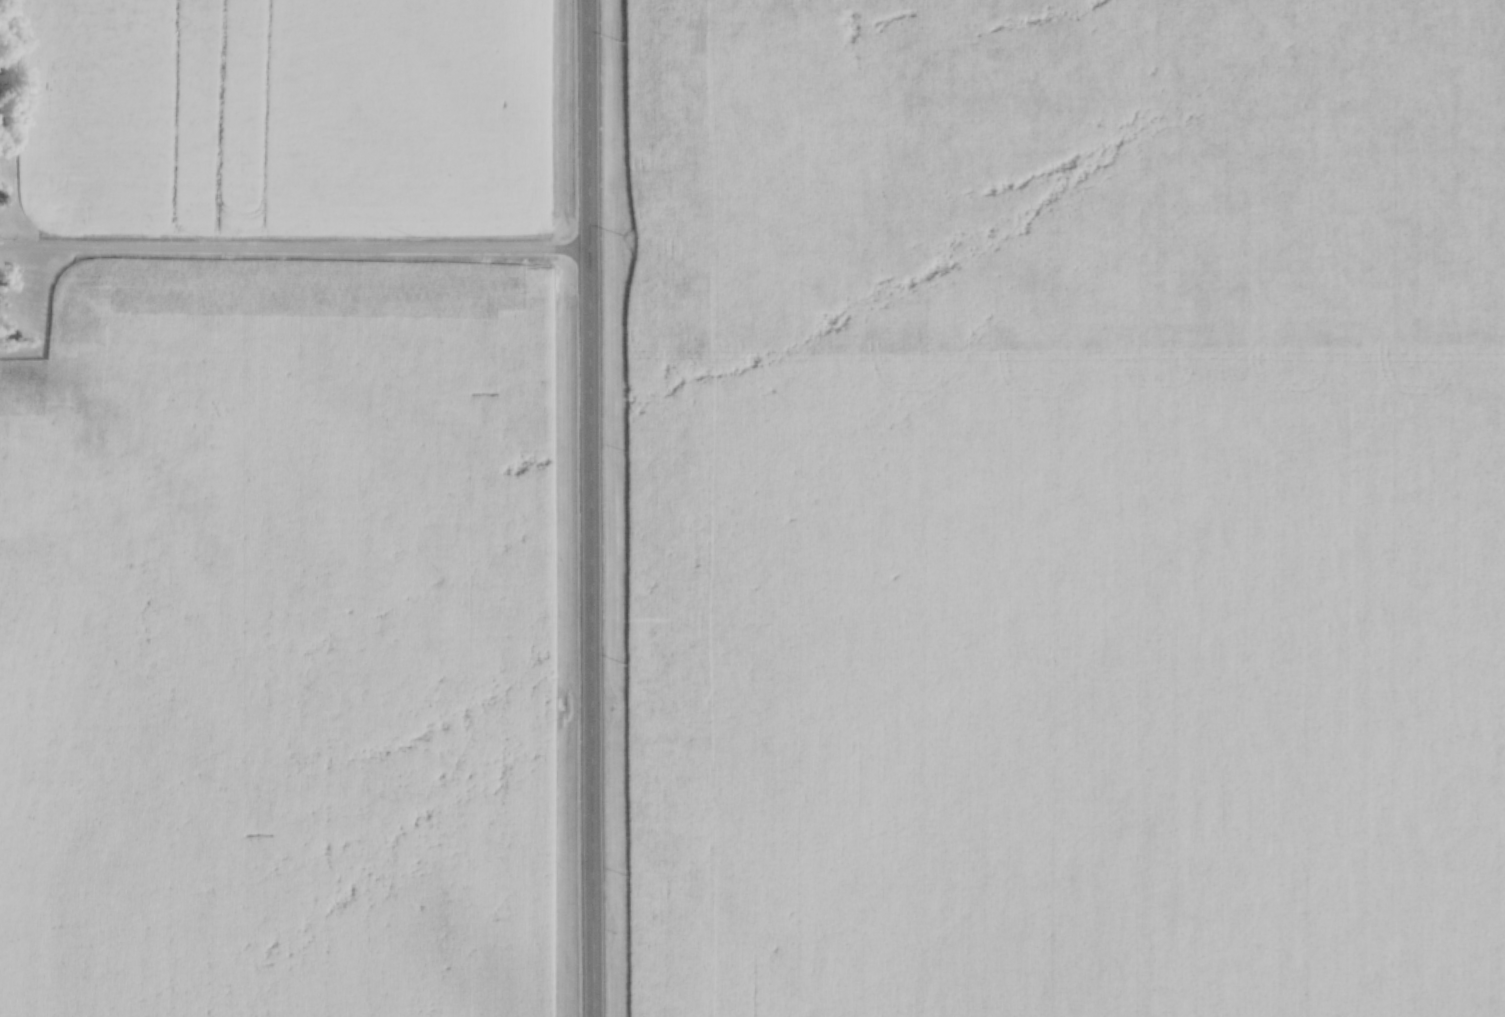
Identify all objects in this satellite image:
road: (293, 237)
road: (587, 508)

